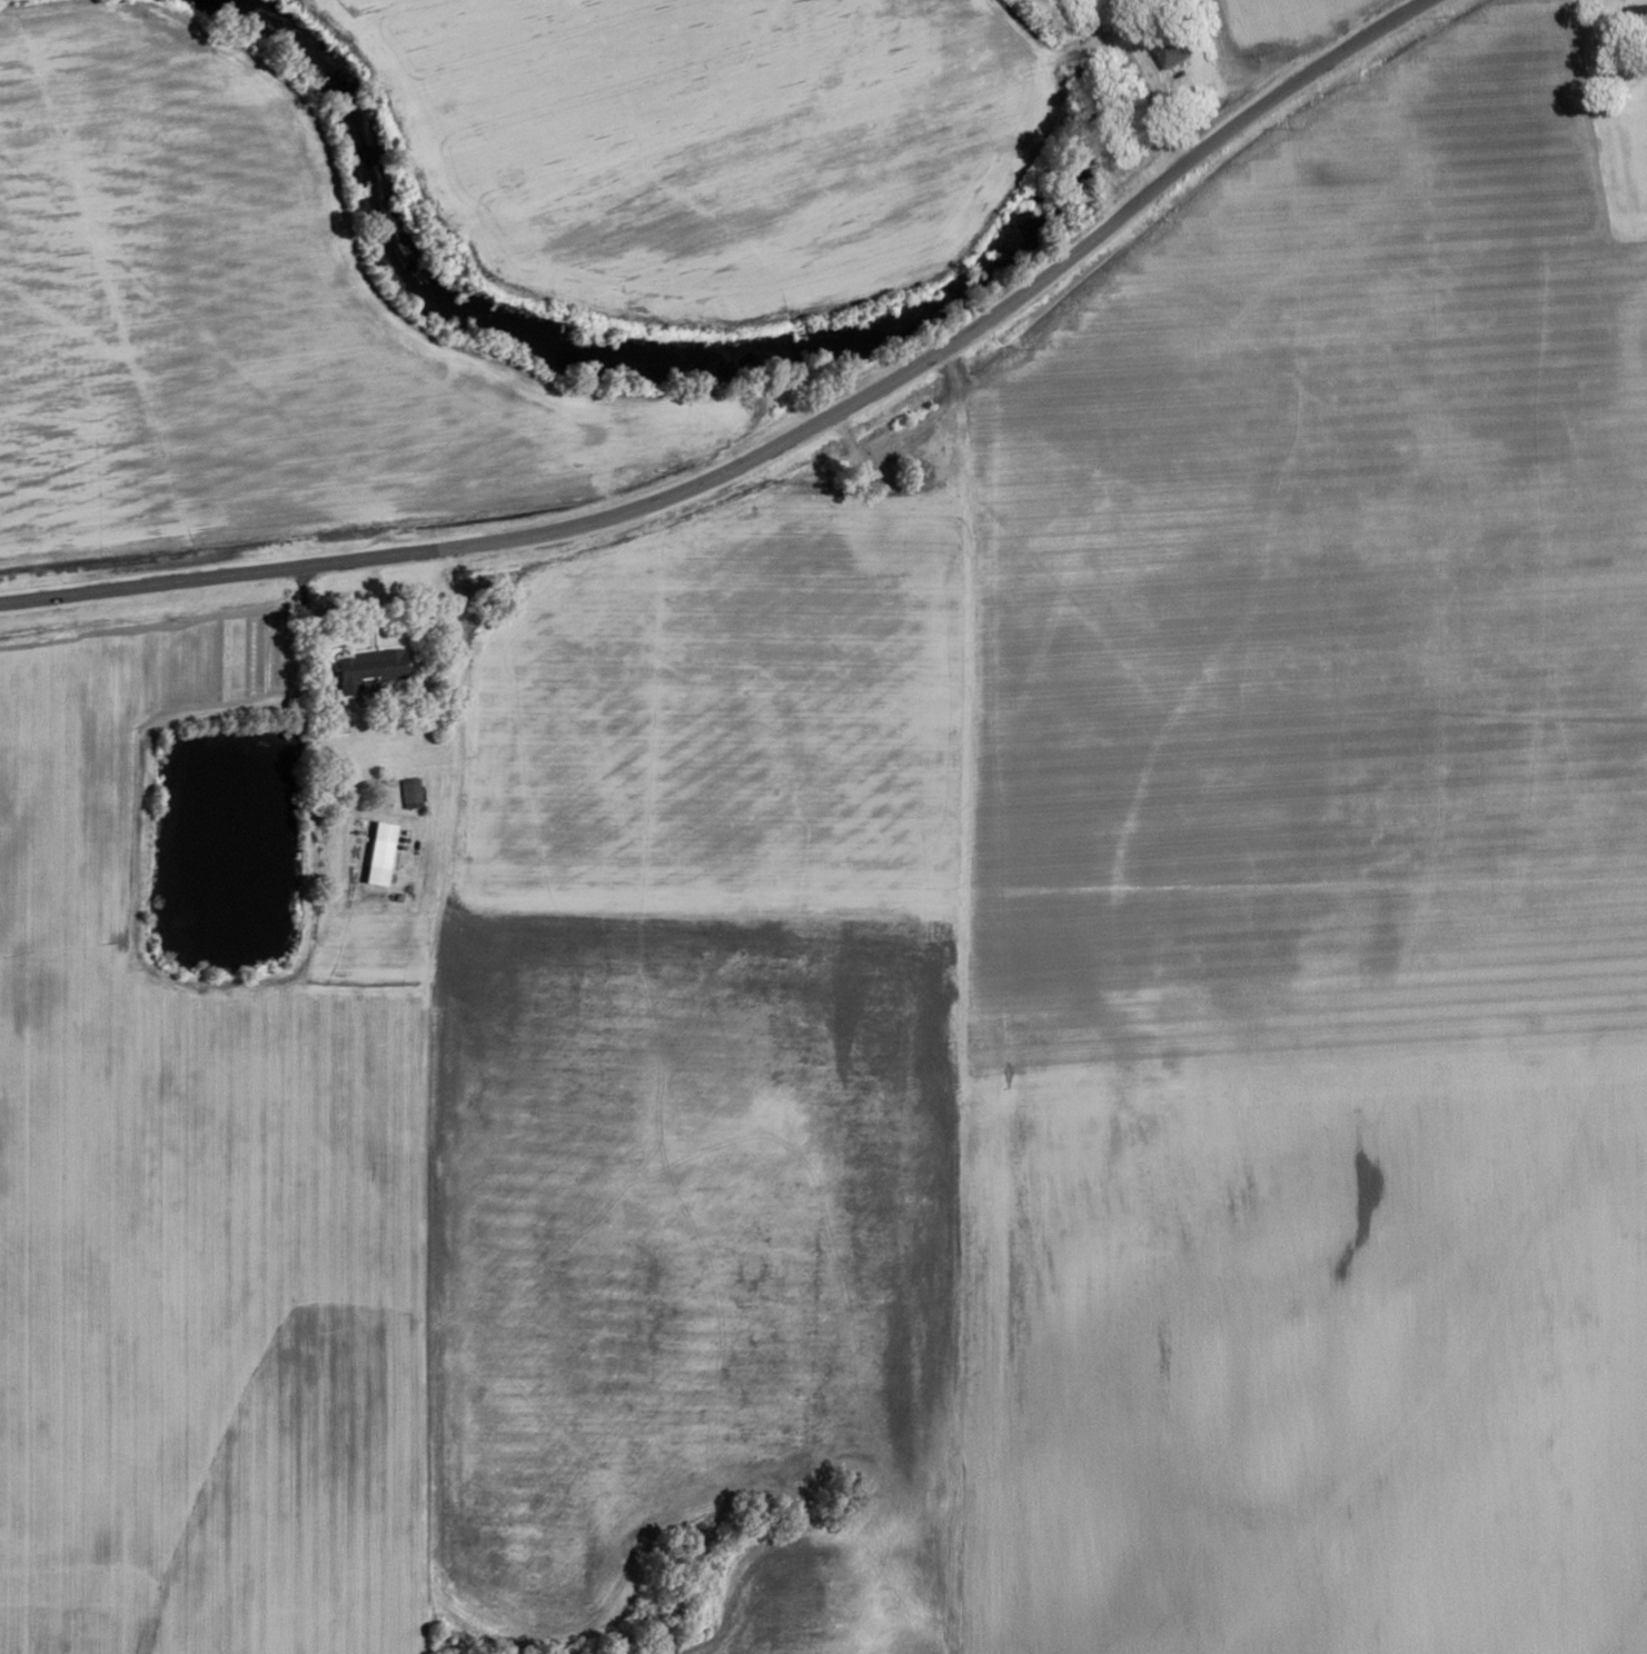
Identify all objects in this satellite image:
building: (1640, 14)
road: (1119, 36)
building: (1170, 51)
road: (770, 447)
building: (365, 668)
building: (408, 791)
road: (962, 857)

